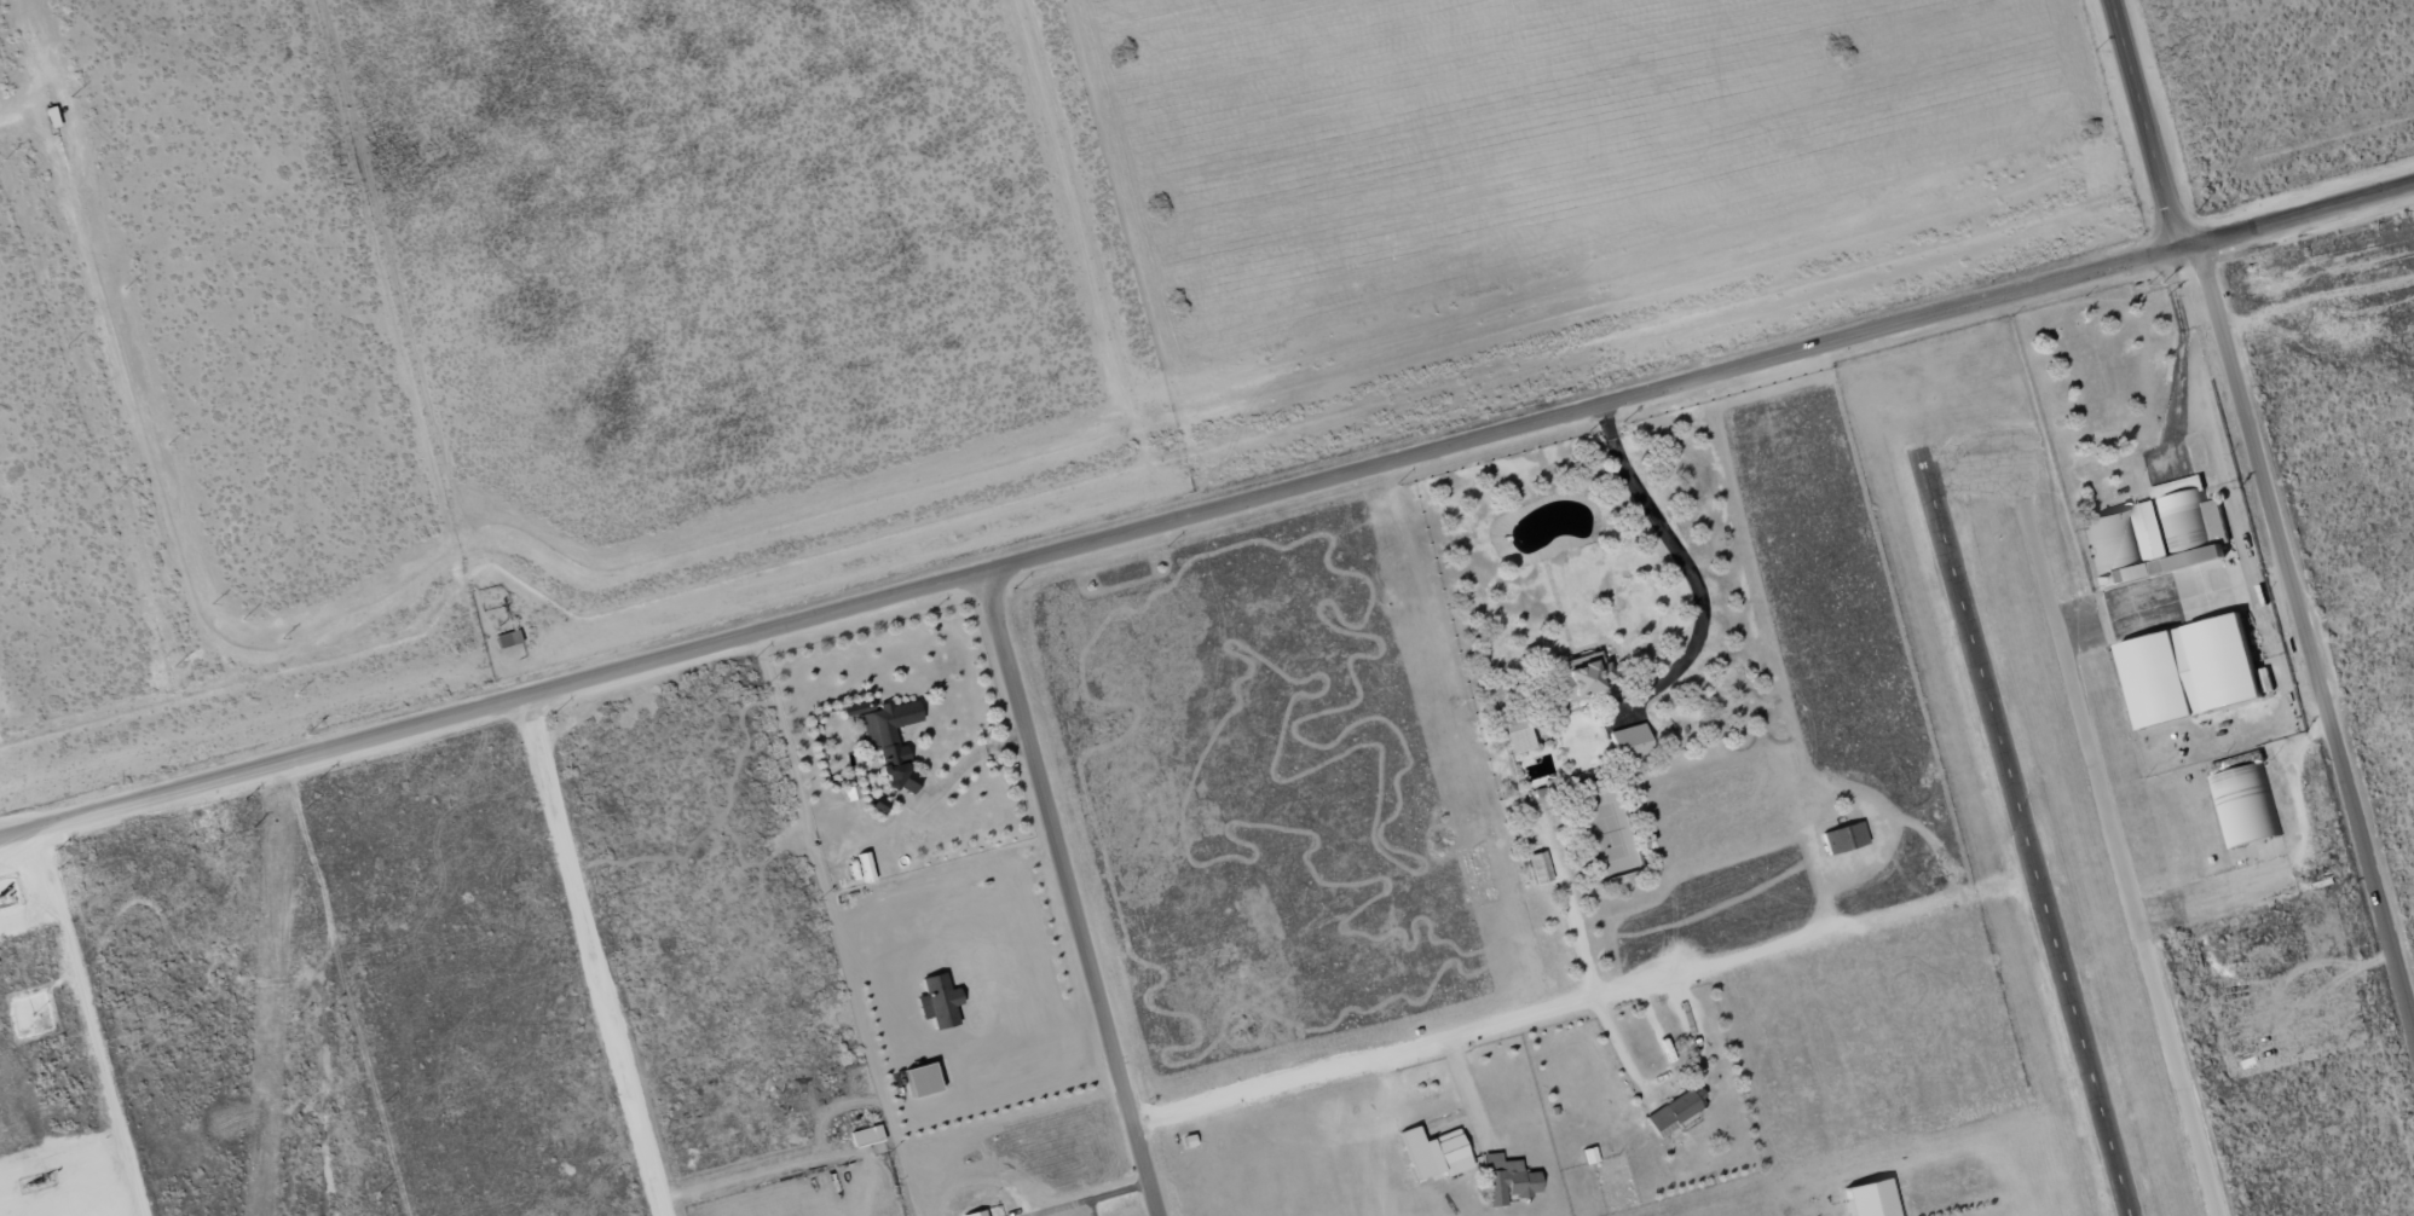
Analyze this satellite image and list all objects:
road: (2270, 506)
road: (1207, 515)
building: (2179, 521)
building: (2110, 540)
road: (1688, 571)
building: (2110, 580)
building: (507, 639)
building: (2193, 671)
building: (1581, 677)
building: (888, 729)
building: (1518, 740)
building: (1630, 743)
airport: (2155, 775)
building: (2241, 806)
building: (1843, 839)
airport runway: (2022, 844)
building: (865, 867)
building: (1538, 868)
road: (1069, 893)
road: (594, 959)
building: (939, 1002)
road: (1572, 1003)
building: (1676, 1110)
building: (866, 1136)
building: (1186, 1142)
building: (1434, 1153)
building: (1507, 1181)
building: (1870, 1199)
building: (975, 1214)

